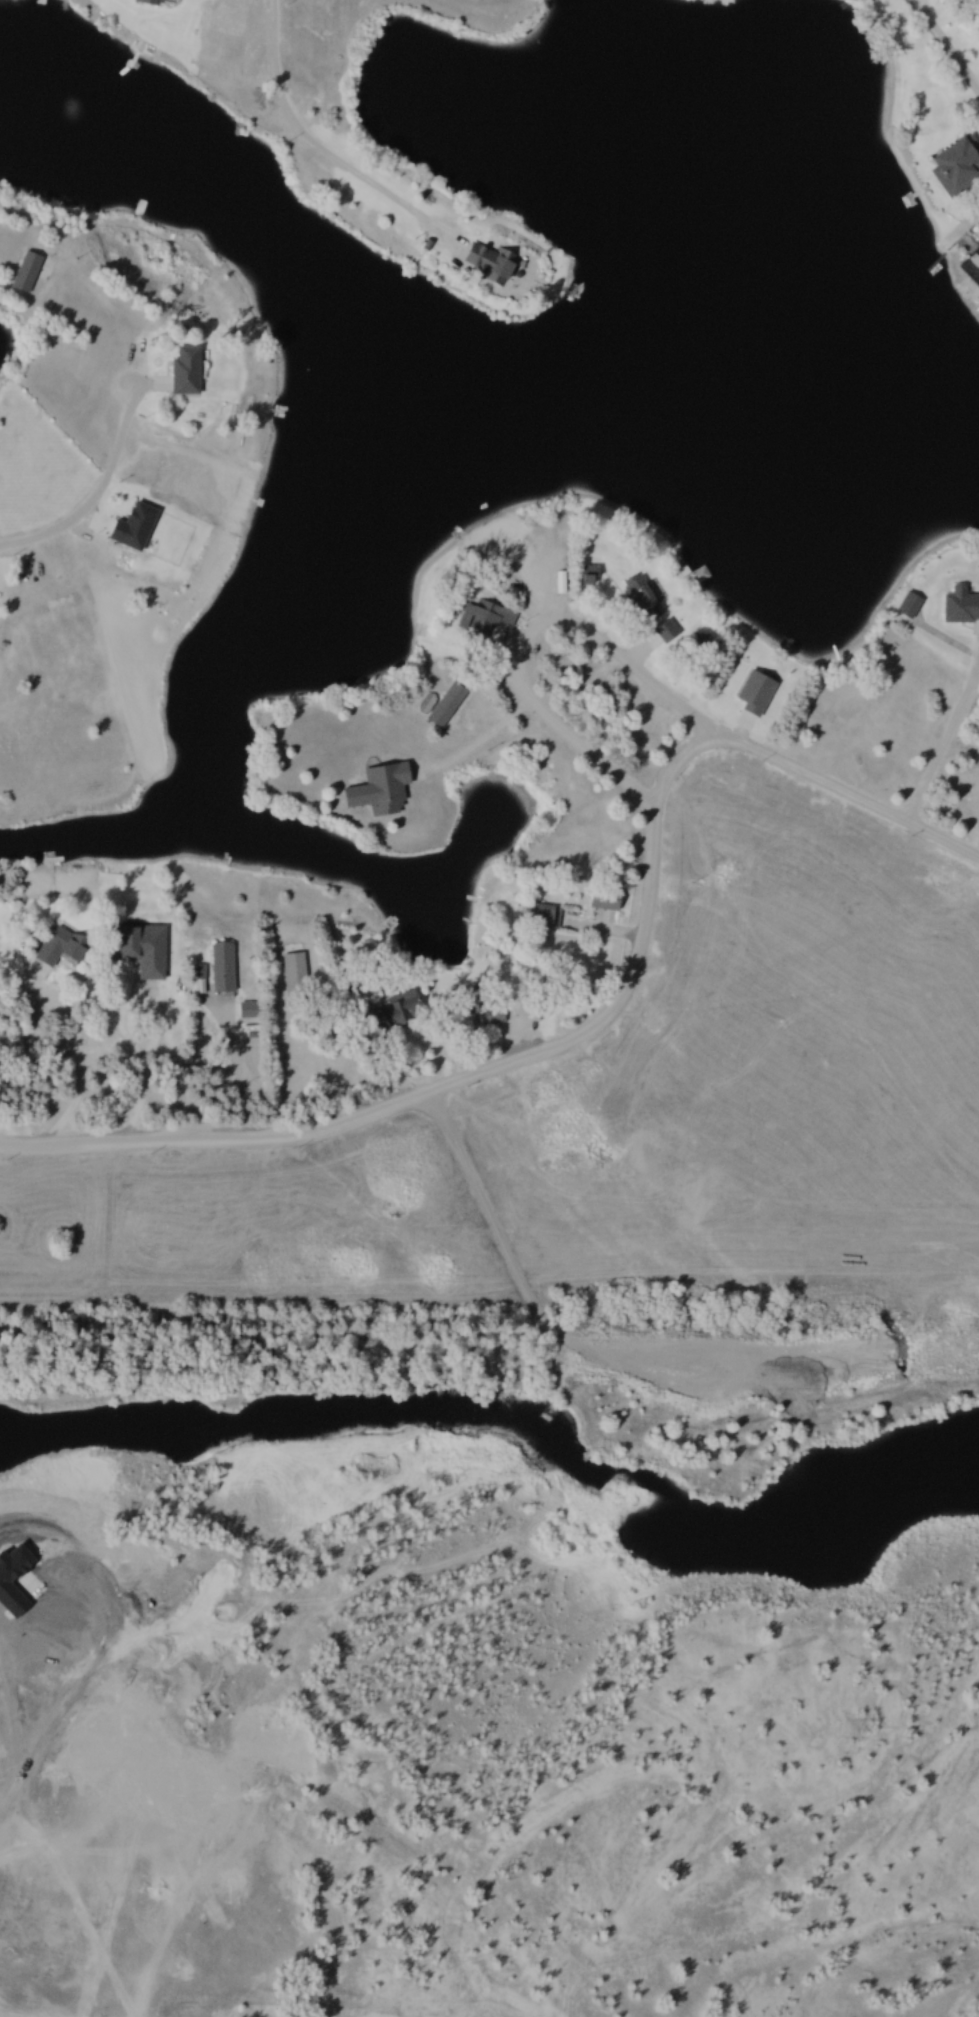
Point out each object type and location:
building: (147, 2)
road: (944, 46)
road: (321, 149)
building: (955, 166)
road: (962, 225)
building: (485, 265)
building: (24, 272)
building: (182, 372)
road: (94, 491)
building: (585, 574)
building: (640, 597)
building: (907, 605)
building: (959, 605)
building: (478, 618)
building: (663, 630)
road: (523, 639)
building: (445, 704)
road: (477, 738)
road: (940, 747)
building: (376, 789)
building: (538, 916)
building: (57, 945)
building: (137, 948)
building: (219, 967)
building: (289, 984)
road: (56, 1001)
building: (401, 1006)
building: (482, 1008)
building: (526, 1008)
road: (597, 1019)
building: (374, 1020)
road: (234, 1068)
road: (69, 1107)

